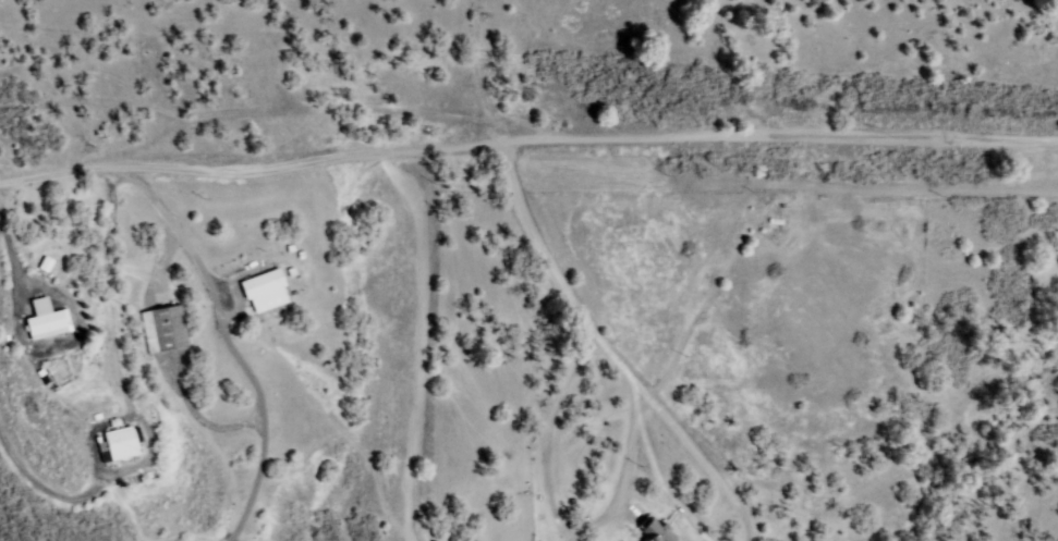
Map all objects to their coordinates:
road: (527, 144)
building: (789, 208)
building: (776, 222)
building: (290, 249)
building: (301, 256)
building: (47, 266)
building: (266, 292)
building: (46, 321)
building: (166, 329)
building: (113, 422)
building: (122, 445)
building: (104, 447)
building: (106, 457)
building: (574, 525)
building: (658, 531)

